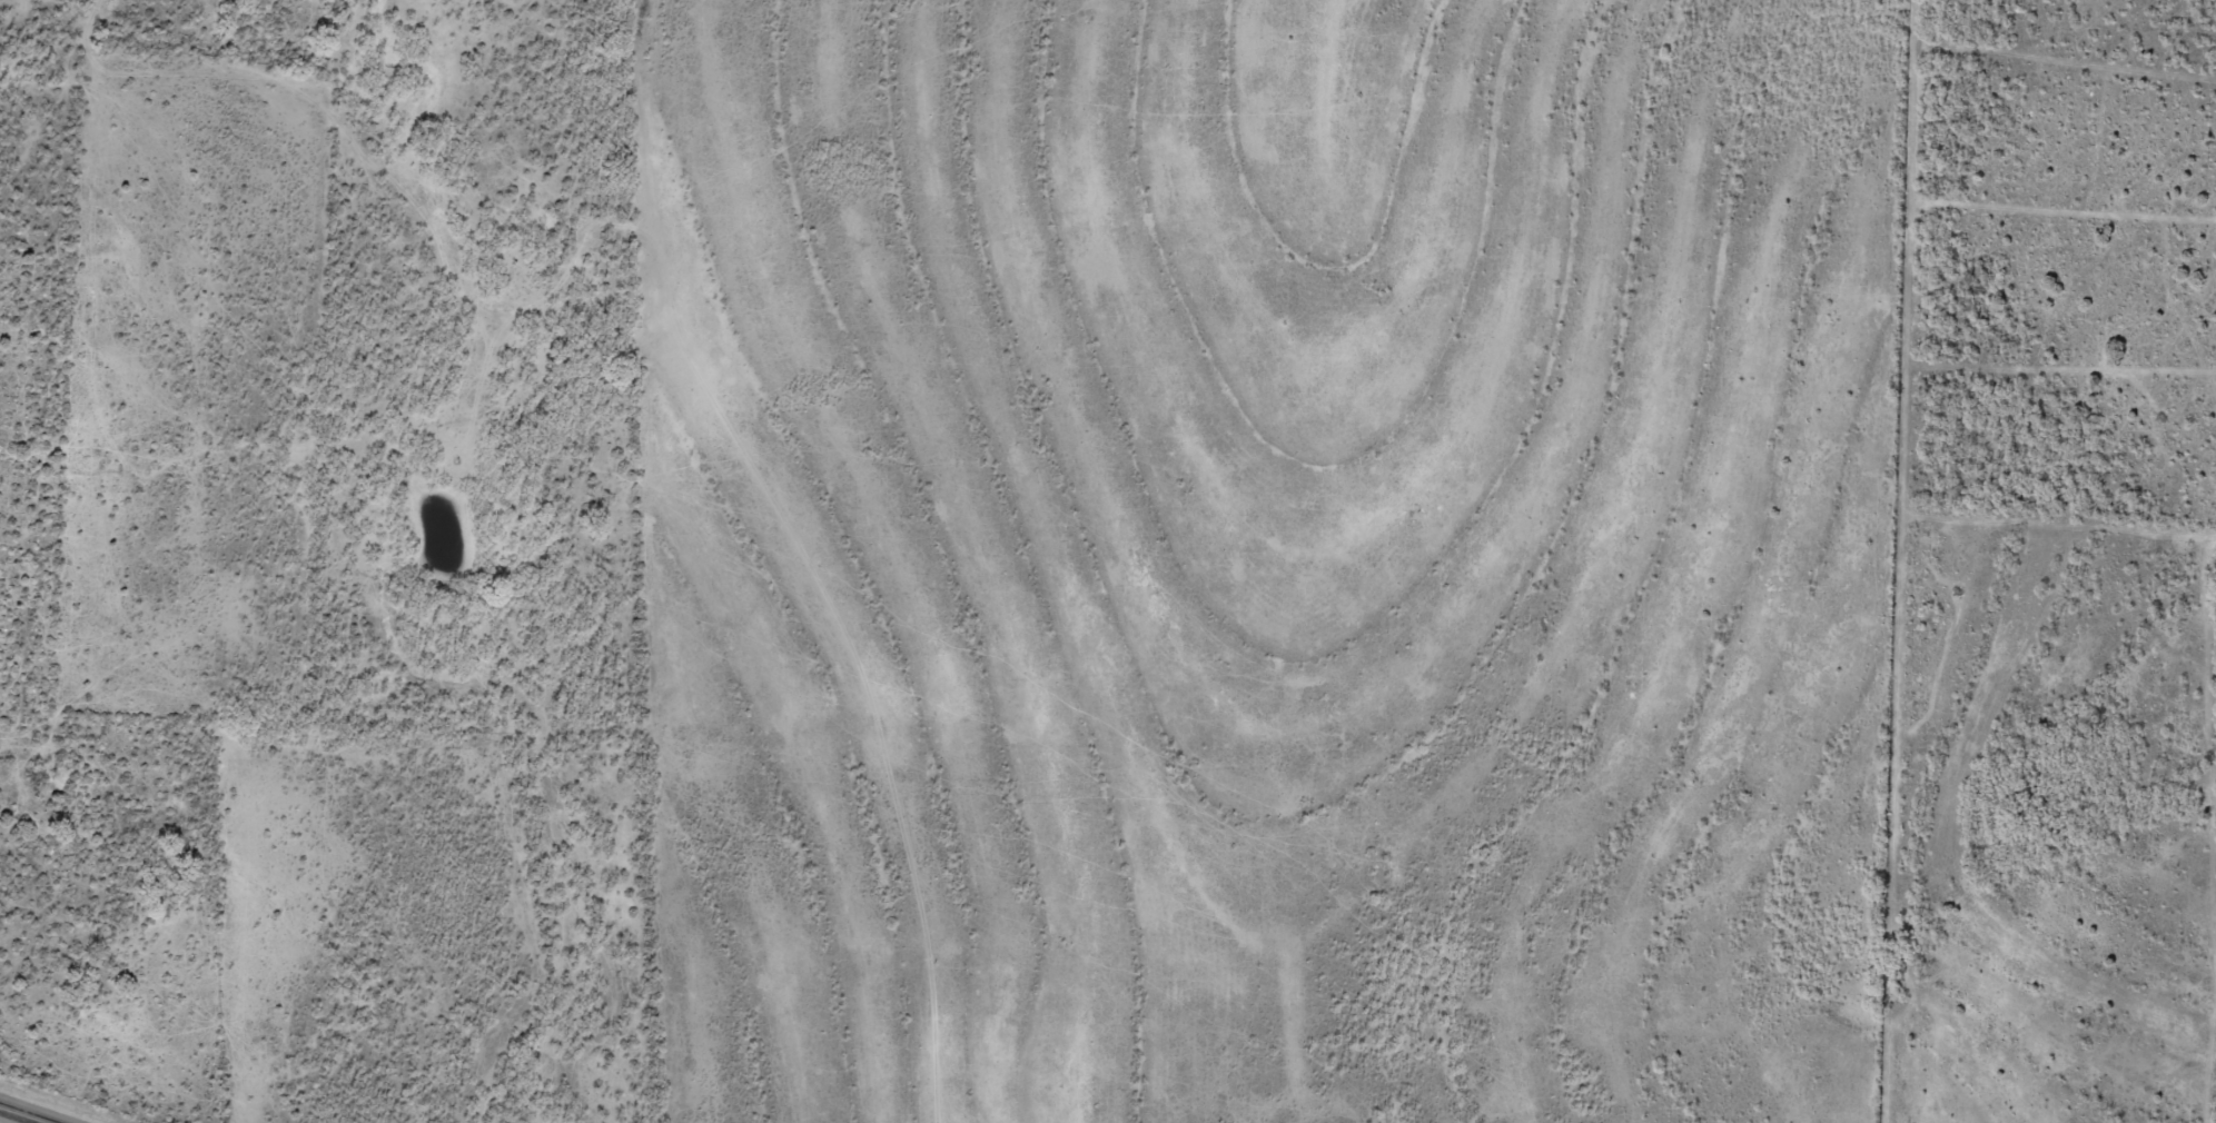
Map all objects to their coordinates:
road: (19, 1116)

